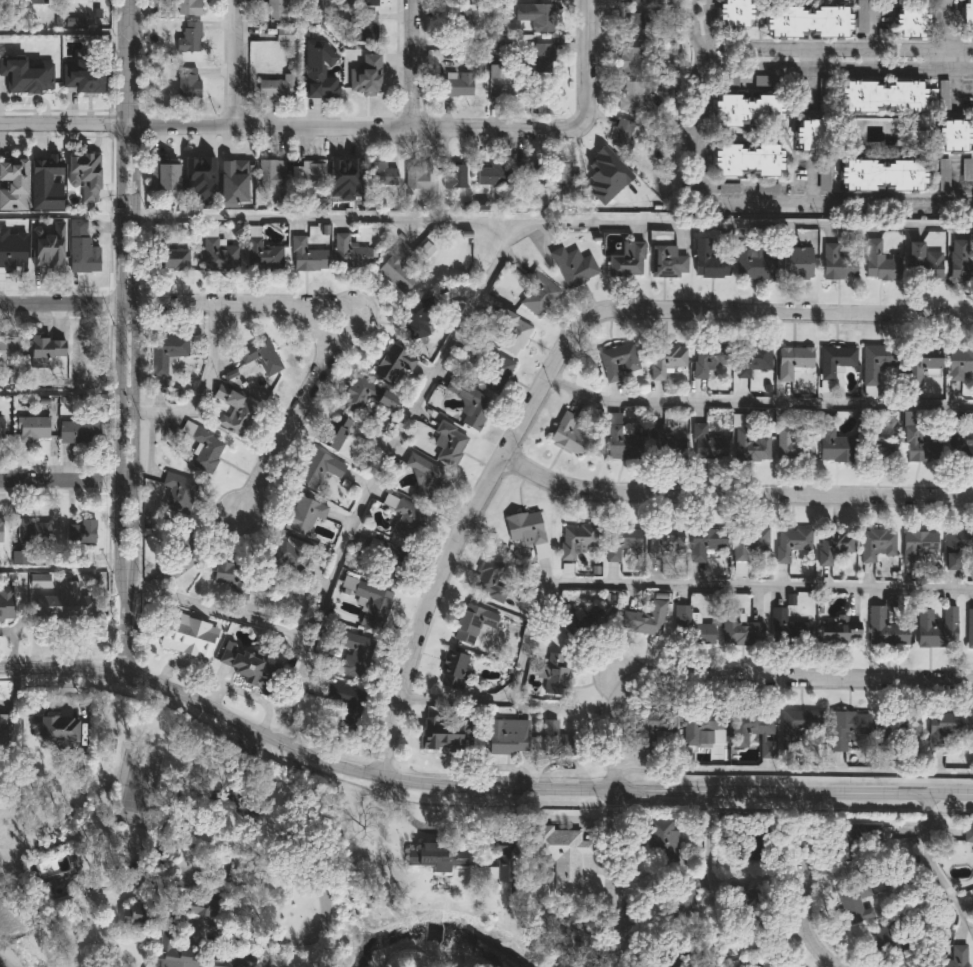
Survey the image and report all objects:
building: (9, 0)
building: (44, 0)
building: (631, 1)
building: (368, 3)
building: (181, 8)
building: (279, 10)
building: (734, 13)
building: (969, 13)
building: (536, 15)
building: (861, 16)
building: (455, 18)
road: (707, 20)
building: (807, 20)
building: (911, 21)
building: (631, 24)
road: (691, 27)
building: (364, 28)
road: (944, 34)
building: (283, 35)
building: (188, 37)
road: (871, 39)
road: (842, 50)
building: (541, 58)
road: (586, 60)
building: (630, 60)
building: (473, 62)
road: (231, 63)
building: (373, 63)
road: (407, 63)
road: (835, 67)
building: (319, 70)
building: (39, 78)
building: (85, 79)
building: (8, 80)
street lamp: (118, 80)
street lamp: (140, 80)
building: (498, 80)
road: (812, 81)
building: (362, 84)
building: (457, 84)
building: (187, 85)
building: (277, 87)
road: (954, 92)
building: (942, 94)
building: (882, 95)
building: (630, 96)
building: (751, 109)
road: (694, 119)
road: (290, 126)
building: (622, 134)
building: (812, 134)
building: (956, 135)
building: (748, 159)
building: (606, 167)
building: (967, 169)
building: (345, 173)
building: (527, 173)
building: (270, 174)
building: (307, 174)
building: (380, 174)
building: (490, 174)
building: (942, 174)
building: (84, 175)
building: (562, 175)
building: (883, 175)
building: (164, 176)
building: (416, 176)
building: (452, 176)
building: (199, 179)
building: (233, 182)
building: (46, 183)
road: (810, 184)
building: (14, 185)
road: (954, 186)
building: (767, 189)
road: (838, 206)
street lamp: (129, 215)
road: (546, 223)
road: (121, 240)
building: (48, 241)
building: (80, 249)
building: (350, 253)
building: (218, 255)
building: (167, 256)
building: (262, 256)
building: (306, 257)
building: (710, 259)
building: (626, 260)
building: (10, 262)
building: (667, 262)
building: (752, 262)
building: (880, 262)
building: (959, 262)
building: (797, 263)
building: (923, 263)
building: (837, 264)
building: (572, 267)
building: (396, 269)
building: (538, 294)
road: (134, 298)
road: (147, 303)
building: (416, 319)
street lamp: (377, 332)
building: (512, 332)
building: (44, 346)
building: (8, 349)
building: (166, 352)
building: (261, 356)
building: (82, 357)
building: (708, 358)
building: (750, 359)
building: (923, 359)
building: (834, 360)
building: (792, 361)
building: (618, 362)
building: (666, 362)
building: (959, 362)
building: (392, 363)
building: (873, 363)
road: (554, 365)
building: (495, 374)
road: (202, 394)
building: (366, 396)
building: (469, 403)
road: (757, 403)
road: (292, 404)
building: (233, 410)
street lamp: (127, 412)
building: (1, 430)
building: (34, 430)
building: (79, 431)
building: (568, 432)
building: (337, 433)
building: (669, 436)
building: (621, 440)
building: (447, 443)
building: (834, 443)
building: (706, 444)
building: (750, 446)
building: (791, 446)
building: (203, 447)
building: (920, 447)
building: (962, 450)
street lamp: (261, 452)
building: (884, 453)
building: (319, 468)
building: (427, 479)
road: (66, 482)
building: (175, 492)
road: (733, 493)
building: (303, 514)
road: (357, 514)
building: (403, 519)
building: (526, 530)
building: (1, 531)
building: (33, 532)
building: (80, 532)
road: (120, 539)
building: (575, 540)
building: (620, 542)
building: (705, 542)
building: (790, 542)
building: (748, 543)
building: (664, 544)
building: (875, 544)
building: (832, 545)
building: (917, 545)
building: (958, 548)
building: (180, 550)
building: (386, 561)
building: (283, 568)
building: (230, 573)
building: (488, 579)
road: (640, 584)
building: (59, 598)
building: (370, 602)
building: (6, 603)
building: (572, 618)
building: (643, 619)
building: (472, 623)
building: (936, 627)
building: (689, 628)
building: (787, 628)
building: (969, 628)
building: (885, 629)
building: (739, 630)
building: (837, 631)
road: (125, 632)
building: (187, 635)
building: (354, 657)
building: (246, 662)
building: (451, 669)
road: (679, 669)
building: (554, 673)
building: (335, 701)
building: (653, 725)
building: (799, 727)
building: (845, 727)
building: (53, 729)
building: (441, 729)
building: (702, 730)
building: (752, 730)
building: (944, 730)
building: (4, 731)
building: (506, 737)
building: (898, 739)
building: (555, 740)
road: (793, 772)
road: (474, 786)
park: (136, 794)
road: (249, 827)
building: (967, 834)
building: (861, 842)
building: (661, 844)
building: (561, 855)
building: (437, 856)
building: (503, 868)
road: (931, 868)
road: (802, 885)
building: (856, 901)
building: (134, 914)
building: (200, 918)
building: (892, 944)
building: (193, 954)
building: (951, 958)

